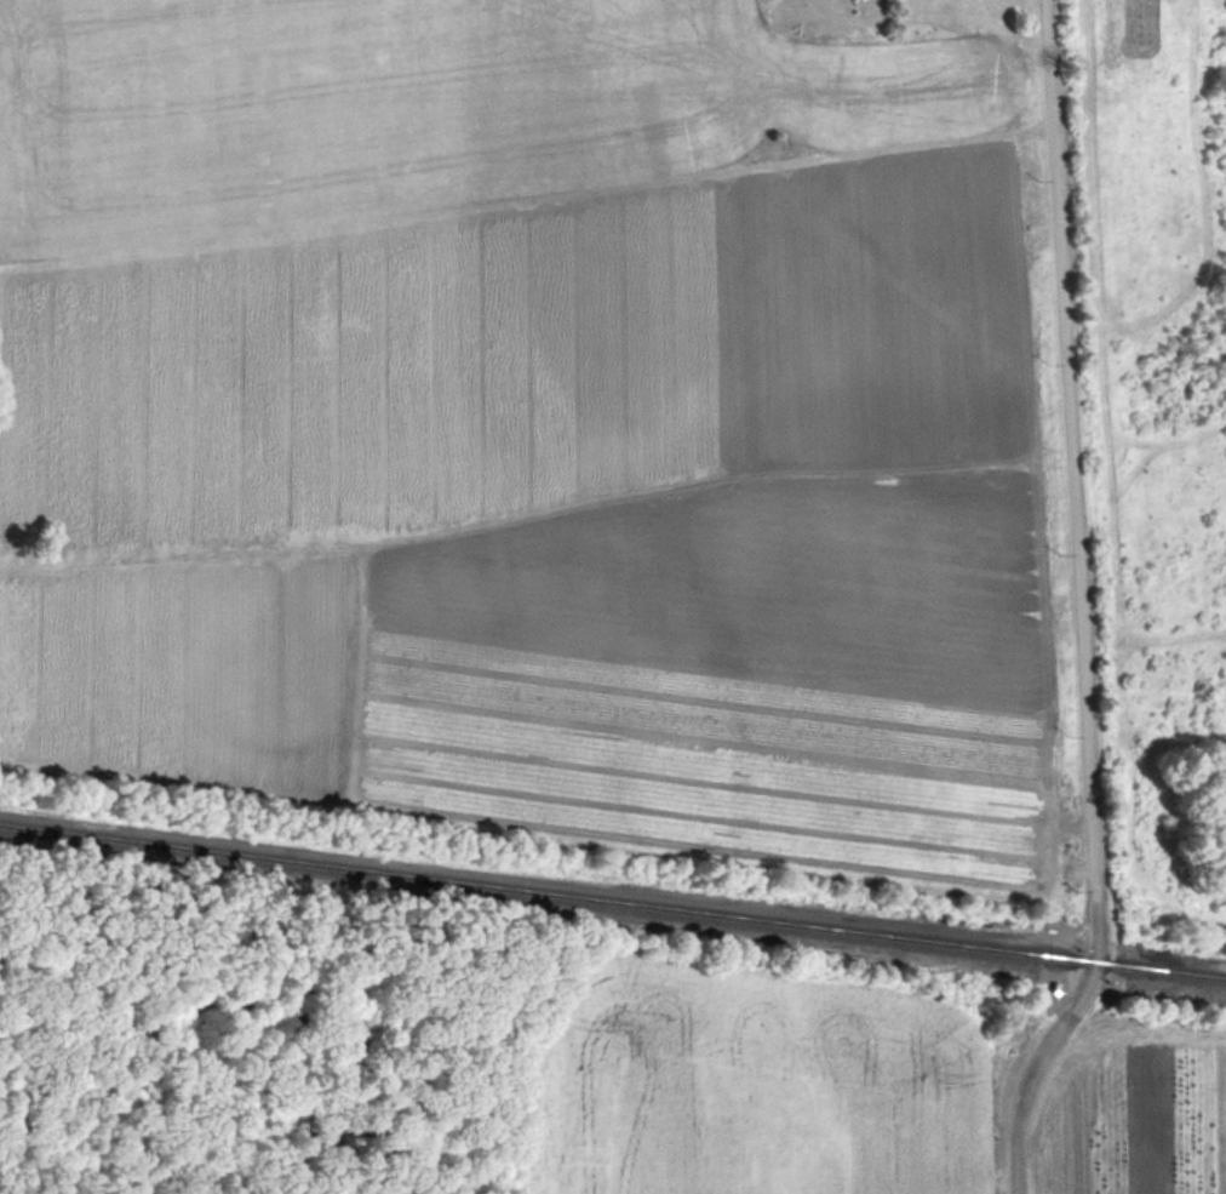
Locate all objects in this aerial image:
road: (1075, 607)
railway: (613, 902)

